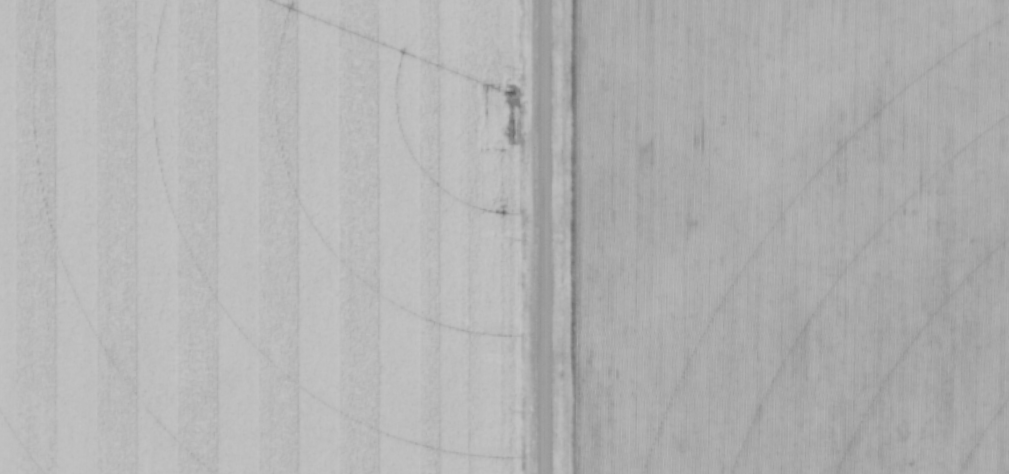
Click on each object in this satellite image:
road: (542, 237)

